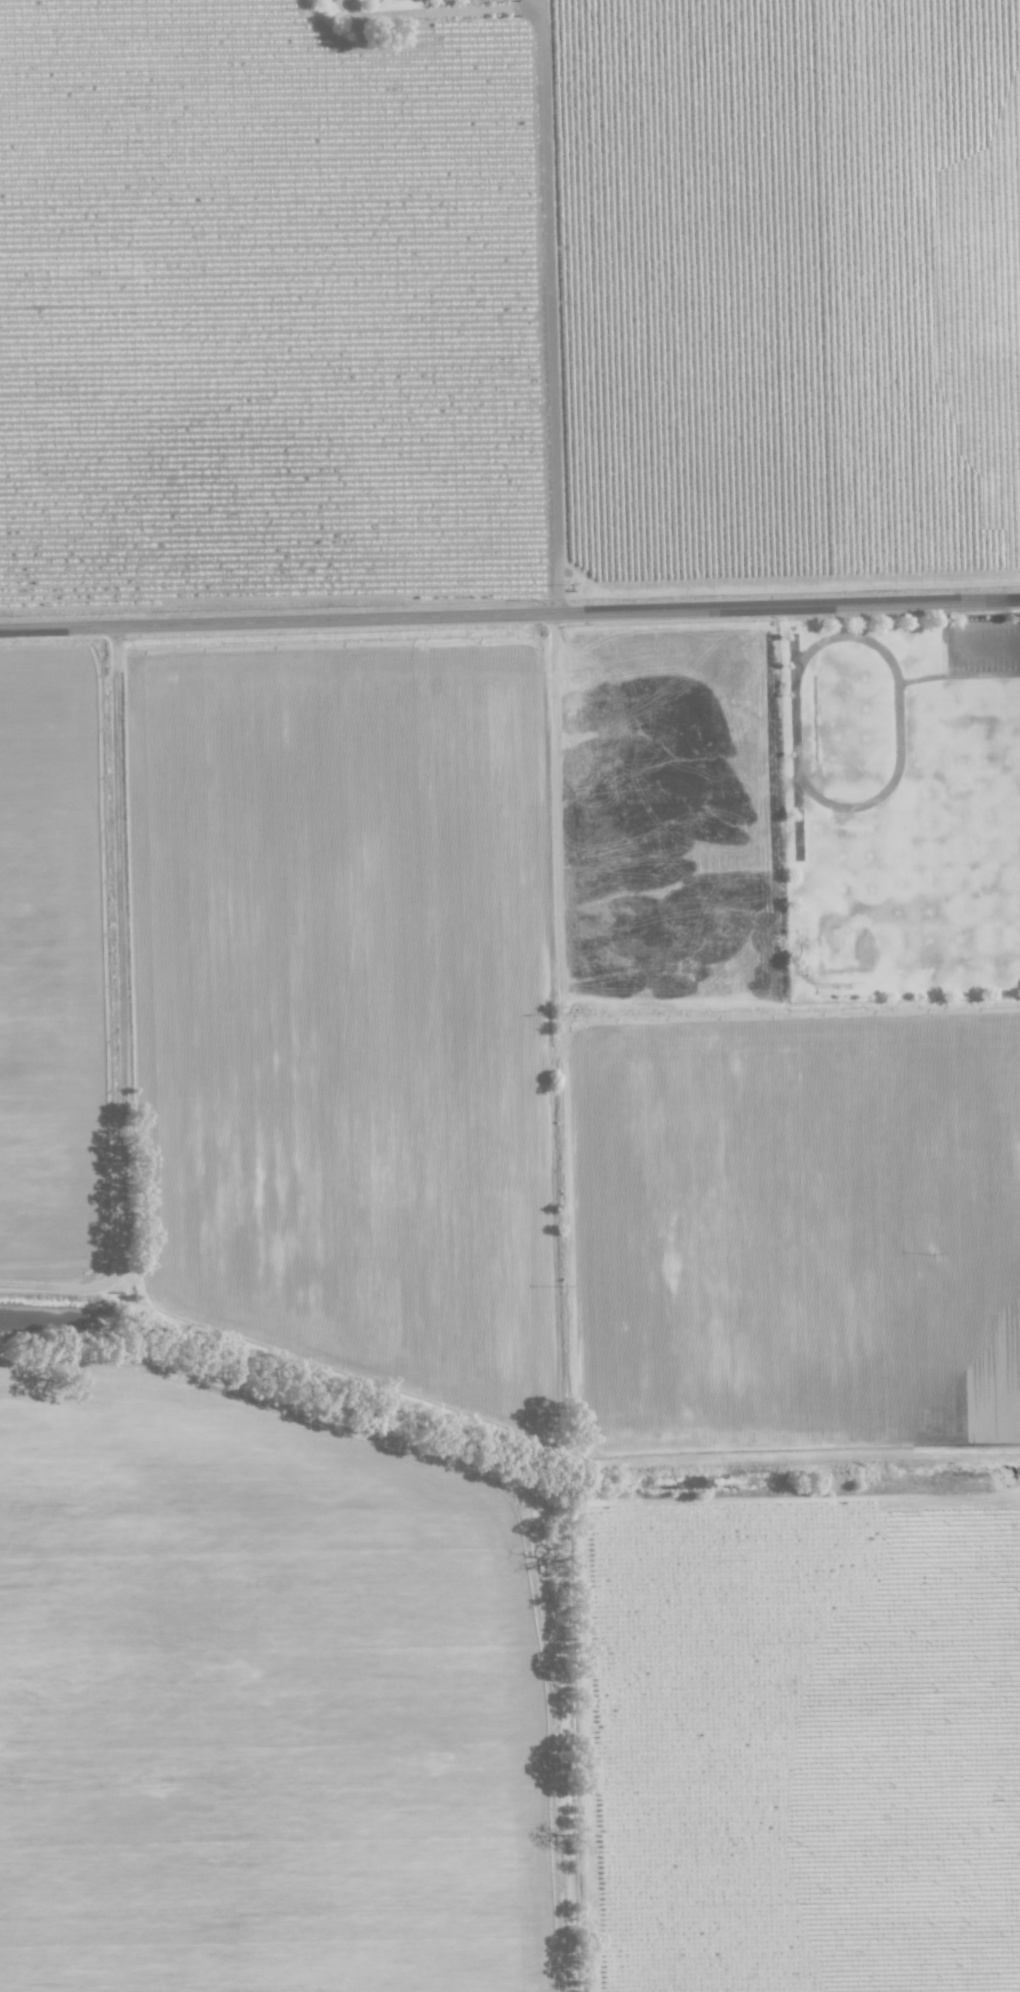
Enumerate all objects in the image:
road: (540, 9)
road: (447, 12)
road: (549, 315)
road: (510, 614)
road: (987, 641)

